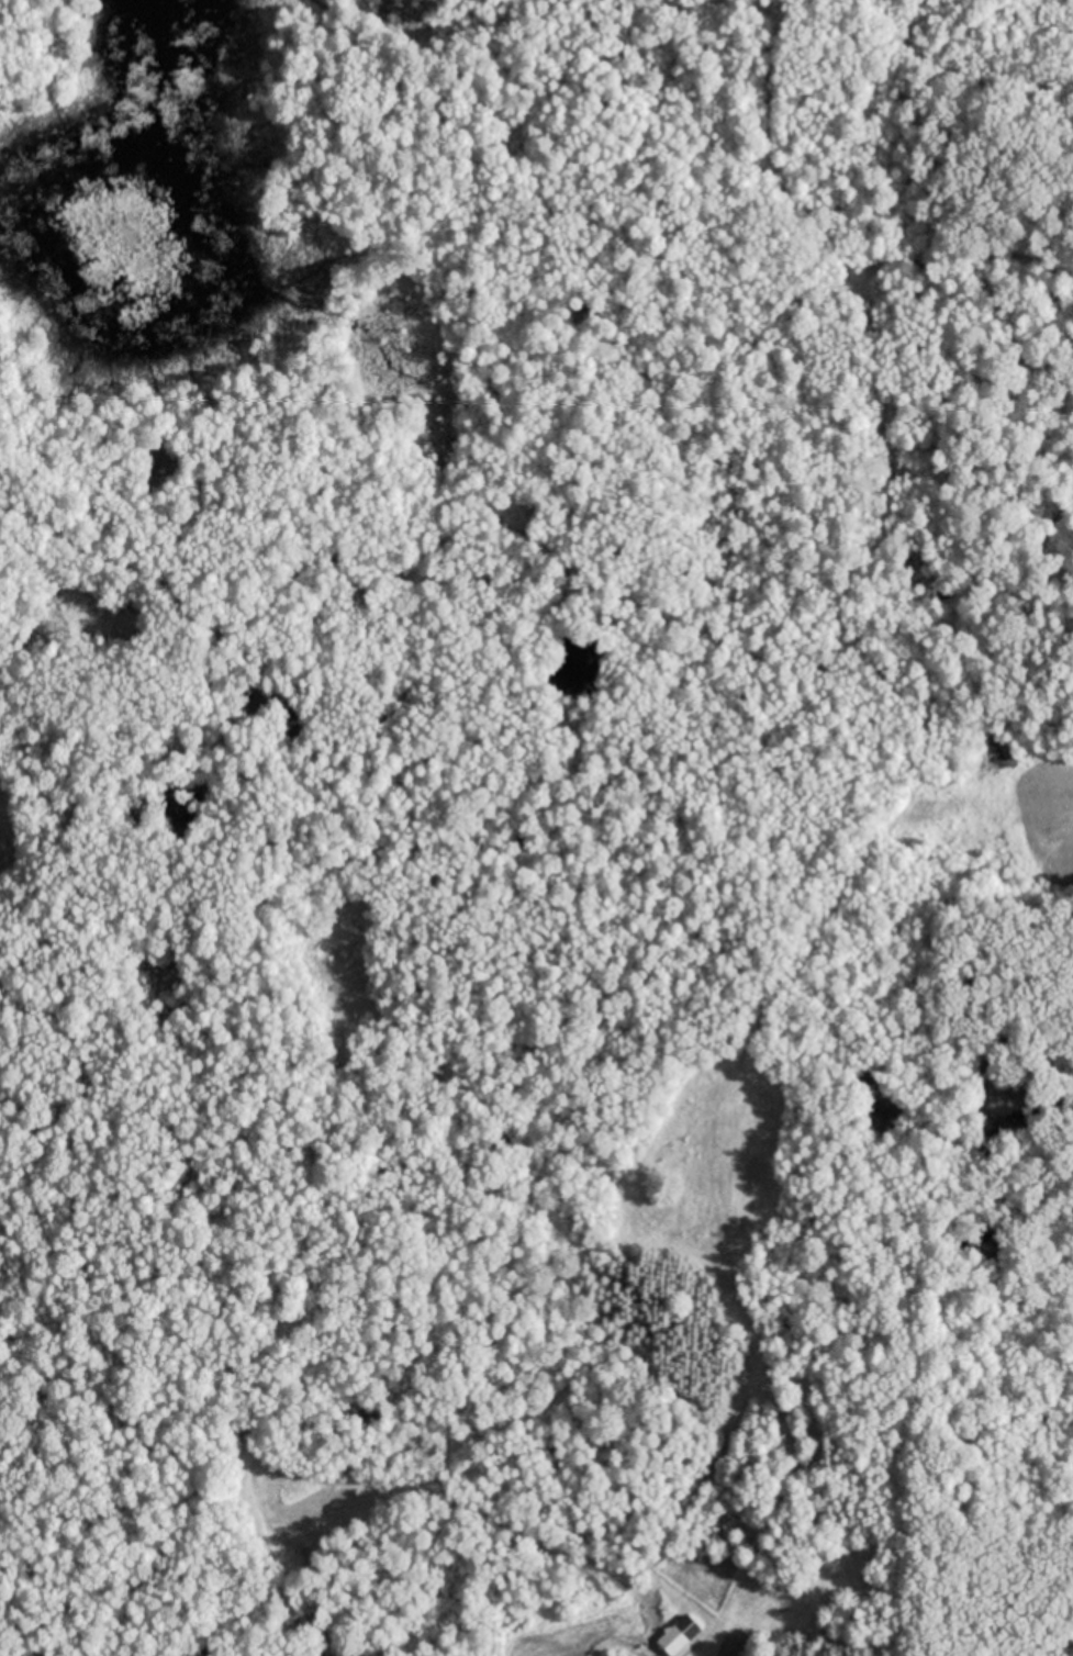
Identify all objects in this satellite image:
building: (688, 1627)

